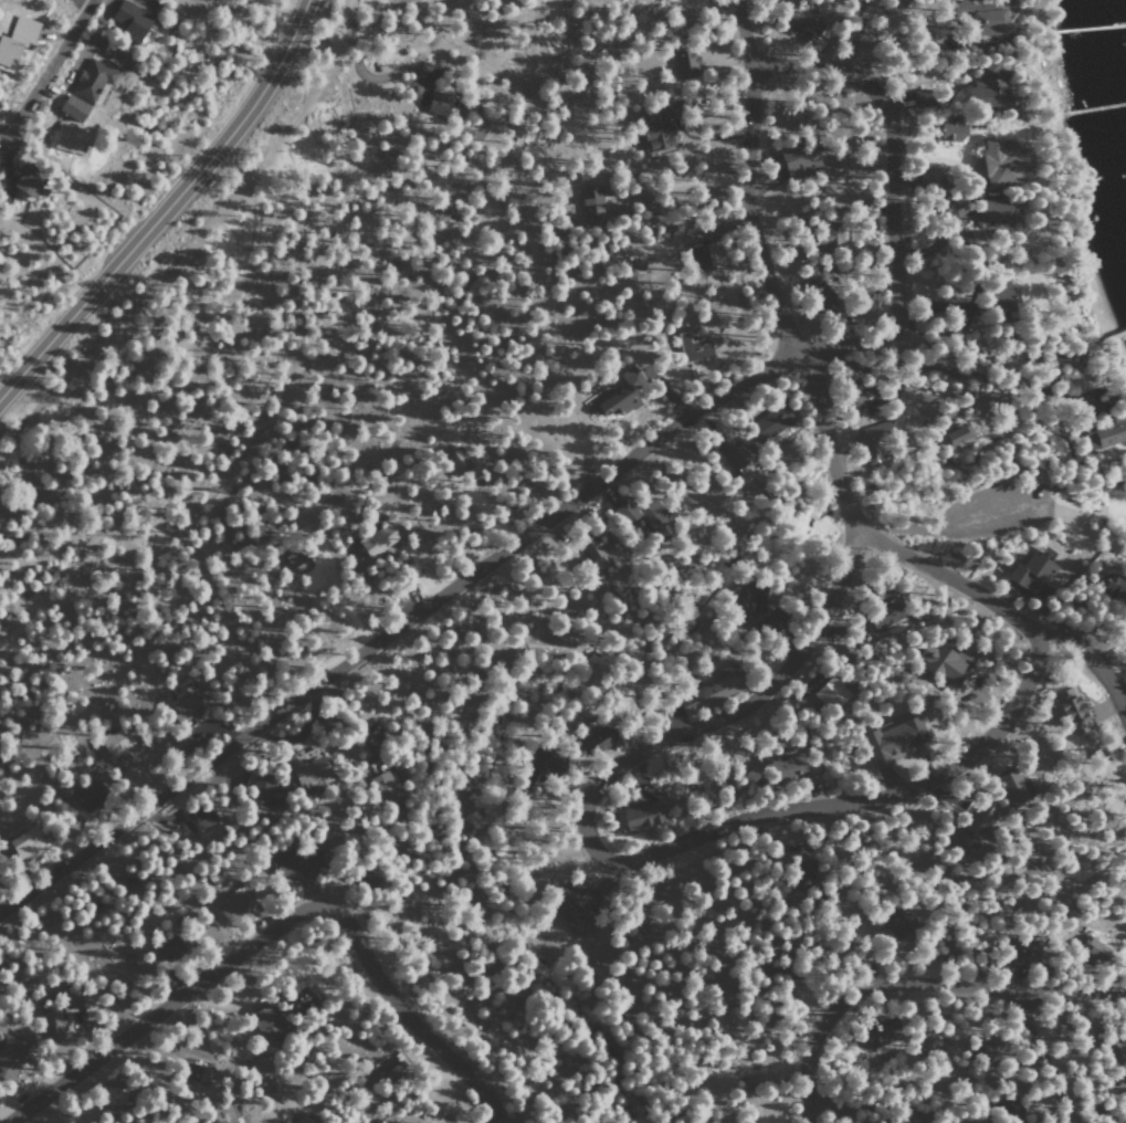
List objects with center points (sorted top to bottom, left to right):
road: (346, 11)
building: (977, 18)
building: (127, 20)
building: (801, 25)
pier: (1088, 25)
building: (17, 35)
road: (855, 35)
road: (376, 59)
building: (683, 62)
road: (45, 71)
building: (91, 80)
building: (982, 87)
building: (920, 98)
building: (434, 103)
pier: (1099, 104)
building: (70, 108)
building: (653, 127)
road: (283, 130)
building: (949, 132)
building: (67, 138)
building: (791, 159)
building: (998, 160)
building: (927, 178)
road: (746, 181)
building: (23, 182)
road: (891, 196)
building: (589, 203)
road: (167, 207)
building: (989, 212)
building: (825, 233)
building: (702, 256)
building: (635, 263)
building: (819, 296)
building: (995, 297)
pier: (1118, 328)
building: (692, 347)
building: (848, 396)
building: (614, 401)
building: (768, 422)
building: (1105, 433)
building: (957, 434)
building: (870, 439)
road: (823, 442)
building: (728, 451)
building: (454, 462)
park: (997, 501)
parking lot: (985, 512)
road: (1078, 515)
building: (638, 516)
road: (945, 526)
road: (1097, 531)
building: (372, 542)
building: (590, 550)
building: (292, 566)
building: (1031, 575)
road: (950, 579)
building: (1113, 588)
building: (744, 600)
building: (880, 616)
building: (768, 625)
road: (394, 628)
building: (938, 664)
road: (1095, 664)
building: (828, 693)
building: (706, 694)
building: (183, 706)
building: (1071, 712)
building: (895, 739)
building: (114, 743)
building: (178, 743)
building: (596, 743)
building: (546, 763)
building: (375, 767)
building: (783, 768)
building: (306, 770)
building: (381, 785)
building: (1011, 788)
building: (261, 793)
building: (91, 797)
building: (638, 815)
building: (196, 821)
building: (974, 827)
building: (20, 842)
building: (294, 861)
road: (633, 861)
building: (801, 874)
building: (360, 878)
building: (571, 903)
building: (232, 907)
building: (892, 923)
road: (275, 926)
building: (1019, 948)
building: (1091, 948)
road: (857, 994)
building: (66, 995)
road: (1065, 995)
building: (295, 997)
building: (264, 1022)
building: (50, 1024)
building: (870, 1035)
building: (928, 1043)
building: (1109, 1045)
building: (979, 1048)
road: (1044, 1051)
building: (8, 1056)
building: (191, 1072)
building: (108, 1095)
building: (1009, 1113)
building: (905, 1117)
building: (297, 1120)

